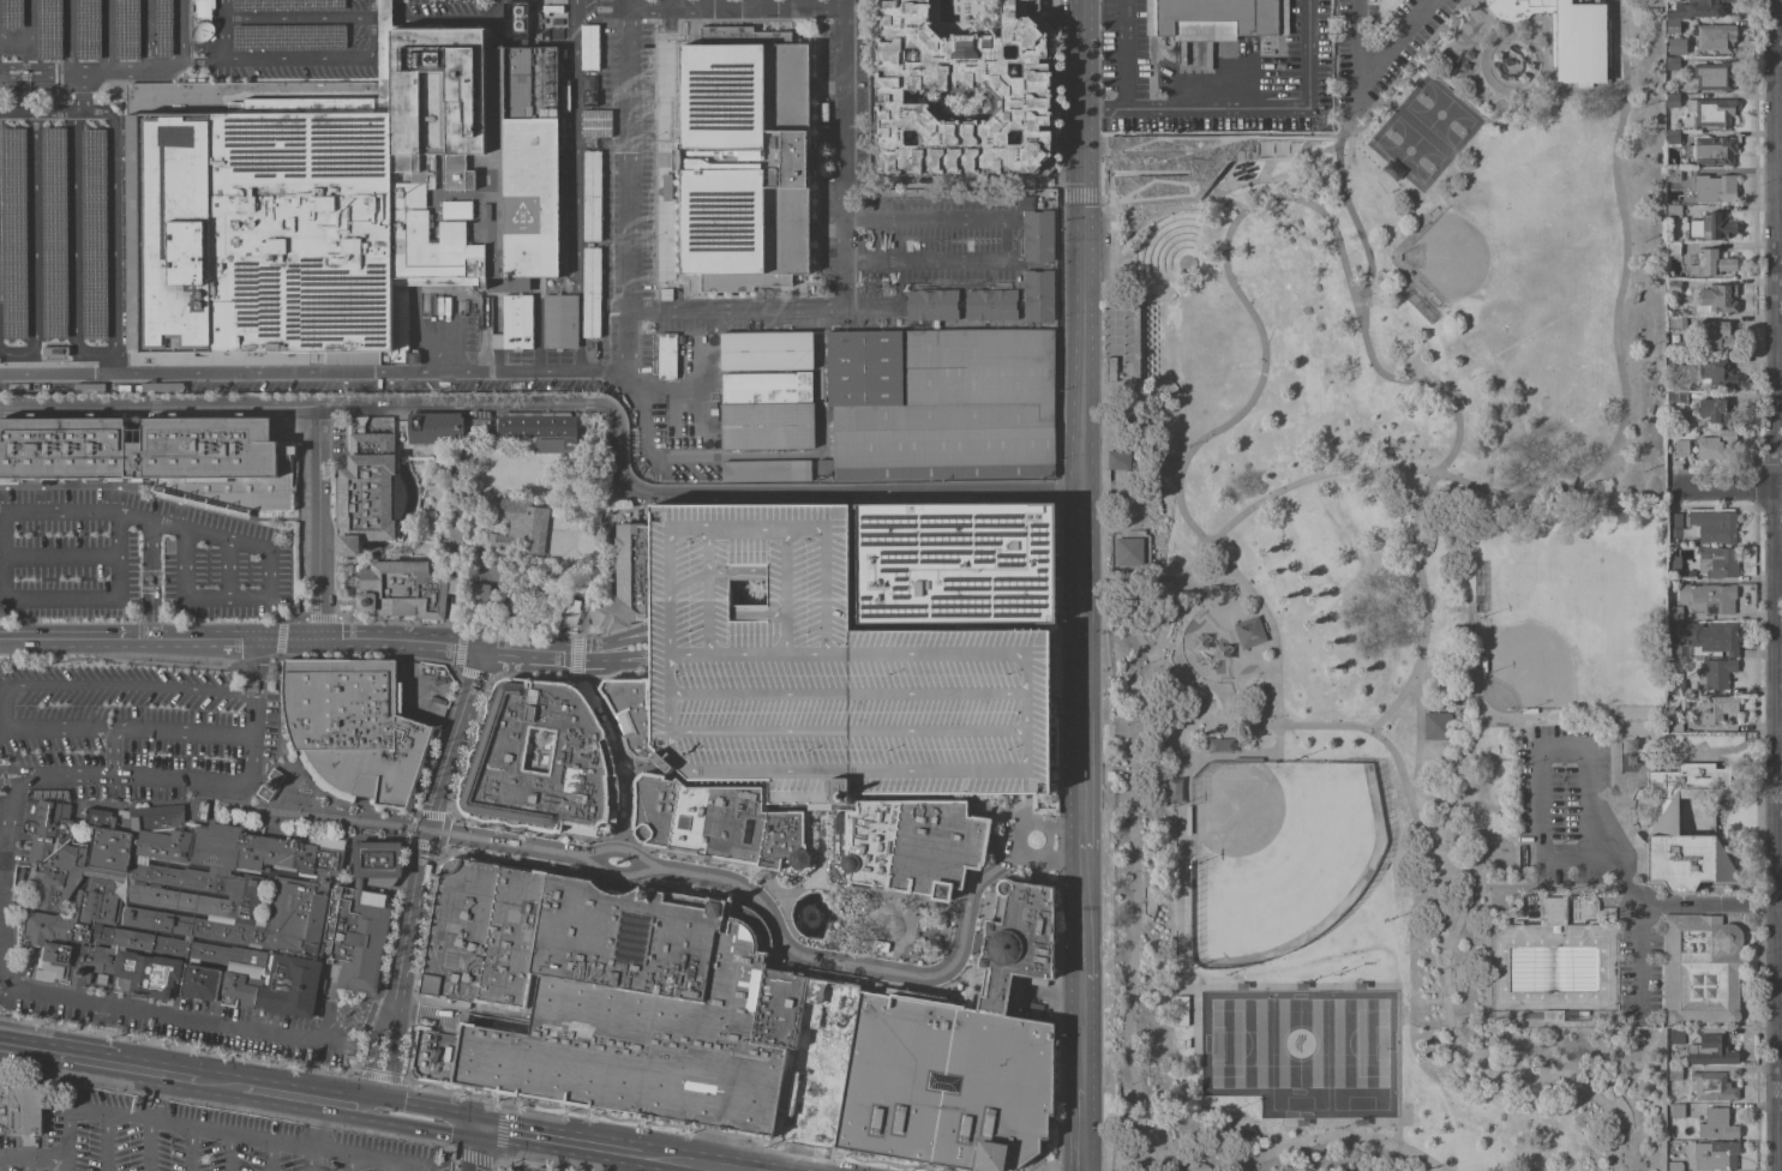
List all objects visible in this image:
road: (624, 4)
road: (625, 4)
road: (665, 4)
road: (712, 4)
road: (756, 4)
road: (799, 4)
building: (284, 5)
road: (494, 7)
road: (733, 7)
building: (204, 8)
road: (1615, 8)
building: (1697, 8)
building: (10, 13)
road: (443, 16)
road: (384, 18)
road: (318, 19)
road: (376, 19)
building: (515, 19)
building: (1216, 19)
building: (1673, 26)
building: (161, 28)
building: (47, 29)
building: (85, 29)
building: (124, 29)
road: (178, 30)
road: (223, 30)
road: (1513, 32)
building: (1566, 34)
road: (68, 36)
road: (106, 37)
road: (144, 37)
building: (286, 37)
building: (1716, 37)
road: (1613, 43)
road: (29, 44)
parking lot: (1381, 44)
building: (1675, 46)
building: (589, 48)
road: (1548, 53)
road: (1123, 54)
road: (200, 55)
road: (298, 60)
building: (1674, 62)
road: (1486, 64)
road: (1544, 64)
road: (1410, 67)
road: (1369, 70)
road: (38, 71)
road: (128, 76)
building: (1714, 77)
road: (40, 86)
building: (1021, 88)
road: (77, 94)
building: (588, 97)
building: (1673, 100)
road: (1248, 107)
building: (1711, 112)
road: (38, 113)
park: (1442, 115)
building: (590, 124)
building: (605, 124)
building: (1674, 137)
building: (1712, 150)
park: (1412, 151)
road: (842, 154)
building: (743, 158)
building: (1181, 164)
road: (1308, 166)
building: (1673, 176)
road: (1266, 178)
building: (666, 182)
road: (577, 186)
building: (1714, 188)
road: (624, 190)
building: (666, 196)
building: (590, 197)
building: (336, 200)
building: (1673, 211)
helipad: (520, 215)
road: (112, 217)
road: (1144, 218)
road: (1358, 226)
building: (1716, 226)
road: (73, 233)
building: (11, 234)
road: (34, 234)
building: (52, 234)
building: (91, 234)
building: (1037, 235)
road: (1006, 241)
road: (1775, 242)
parking lot: (926, 248)
building: (1673, 248)
park: (1492, 260)
building: (1710, 264)
building: (1674, 286)
building: (590, 293)
building: (1038, 295)
building: (1717, 300)
building: (931, 305)
building: (990, 305)
road: (763, 310)
building: (559, 322)
building: (1675, 323)
building: (512, 329)
road: (1085, 335)
building: (1717, 336)
building: (766, 350)
road: (56, 354)
building: (666, 356)
building: (1673, 360)
road: (113, 364)
building: (1110, 368)
building: (1717, 372)
road: (312, 373)
road: (1130, 386)
building: (1670, 386)
building: (766, 388)
building: (1676, 397)
building: (941, 404)
road: (575, 406)
building: (1716, 412)
building: (388, 420)
building: (358, 424)
building: (535, 425)
building: (767, 426)
building: (434, 427)
building: (558, 444)
building: (1714, 444)
building: (1681, 448)
road: (740, 455)
building: (158, 457)
building: (1118, 460)
building: (823, 467)
building: (766, 470)
road: (1182, 474)
building: (1128, 480)
road: (1312, 480)
road: (1727, 485)
road: (128, 486)
building: (371, 493)
building: (460, 499)
road: (2, 508)
road: (60, 508)
road: (148, 520)
road: (314, 522)
building: (1673, 524)
building: (518, 526)
building: (1714, 526)
building: (455, 535)
building: (1129, 551)
road: (60, 557)
parking lot: (133, 557)
building: (1717, 562)
building: (955, 563)
building: (630, 565)
road: (226, 566)
building: (1672, 566)
road: (148, 578)
road: (712, 589)
road: (787, 589)
building: (403, 590)
road: (257, 591)
road: (59, 596)
building: (479, 596)
building: (1709, 597)
building: (1674, 612)
building: (608, 613)
park: (1405, 619)
park: (1555, 629)
building: (1247, 632)
building: (1710, 636)
road: (269, 637)
road: (605, 642)
building: (1673, 650)
road: (254, 653)
road: (366, 655)
road: (604, 657)
road: (574, 659)
road: (121, 661)
road: (259, 667)
road: (454, 668)
building: (822, 669)
parking lot: (822, 669)
road: (1038, 669)
road: (1067, 671)
building: (1717, 672)
road: (248, 680)
road: (259, 680)
road: (541, 681)
building: (1676, 686)
road: (58, 689)
road: (1206, 692)
road: (850, 695)
road: (276, 699)
building: (1711, 708)
building: (630, 714)
building: (1674, 725)
parking lot: (119, 726)
building: (1434, 726)
building: (352, 728)
road: (158, 731)
road: (850, 731)
road: (1421, 737)
road: (1084, 747)
building: (540, 761)
road: (620, 763)
road: (289, 769)
road: (827, 770)
road: (8, 774)
building: (1109, 775)
building: (269, 783)
road: (30, 787)
road: (1589, 800)
road: (158, 801)
parking lot: (1567, 804)
building: (199, 810)
road: (1061, 821)
road: (193, 822)
building: (719, 824)
road: (73, 825)
building: (1664, 825)
road: (421, 827)
road: (1420, 828)
road: (1777, 828)
road: (272, 842)
road: (820, 843)
building: (902, 846)
road: (619, 848)
road: (1024, 854)
park: (1273, 854)
road: (1058, 857)
railway: (983, 858)
road: (190, 865)
railway: (666, 870)
road: (666, 870)
road: (992, 872)
road: (305, 878)
road: (164, 885)
road: (1526, 888)
road: (860, 889)
building: (180, 906)
road: (1710, 906)
building: (1590, 907)
building: (1514, 908)
building: (1552, 911)
road: (196, 914)
fountain: (810, 917)
building: (359, 919)
road: (1, 920)
road: (136, 926)
building: (458, 930)
building: (511, 937)
building: (1015, 941)
road: (180, 961)
road: (108, 962)
building: (1699, 968)
road: (181, 973)
road: (221, 975)
parking lot: (1642, 978)
road: (1082, 998)
road: (260, 1002)
building: (646, 1010)
building: (1552, 1015)
road: (1403, 1019)
road: (1560, 1023)
parking lot: (178, 1028)
building: (1676, 1035)
road: (193, 1049)
park: (1300, 1051)
building: (1710, 1051)
road: (56, 1055)
road: (383, 1058)
building: (821, 1059)
road: (155, 1071)
building: (1674, 1073)
building: (948, 1082)
road: (218, 1083)
building: (1712, 1087)
road: (282, 1094)
road: (149, 1097)
road: (352, 1103)
traffic signals: (378, 1103)
building: (19, 1107)
road: (420, 1110)
building: (1676, 1111)
road: (127, 1117)
road: (391, 1121)
building: (1716, 1124)
road: (317, 1125)
road: (467, 1127)
traffic signals: (475, 1129)
road: (209, 1131)
road: (248, 1137)
road: (1332, 1137)
road: (65, 1139)
parking lot: (193, 1140)
road: (563, 1141)
road: (106, 1142)
road: (288, 1145)
road: (149, 1146)
road: (188, 1149)
road: (474, 1149)
road: (328, 1152)
road: (228, 1153)
road: (269, 1155)
building: (1715, 1155)
road: (497, 1157)
road: (12, 1158)
road: (44, 1158)
road: (368, 1159)
road: (1595, 1159)
road: (308, 1160)
road: (348, 1163)
road: (698, 1163)
road: (25, 1164)
road: (408, 1165)
road: (388, 1166)
building: (1674, 1166)
road: (700, 1167)
parking lot: (516, 1169)
road: (428, 1170)

